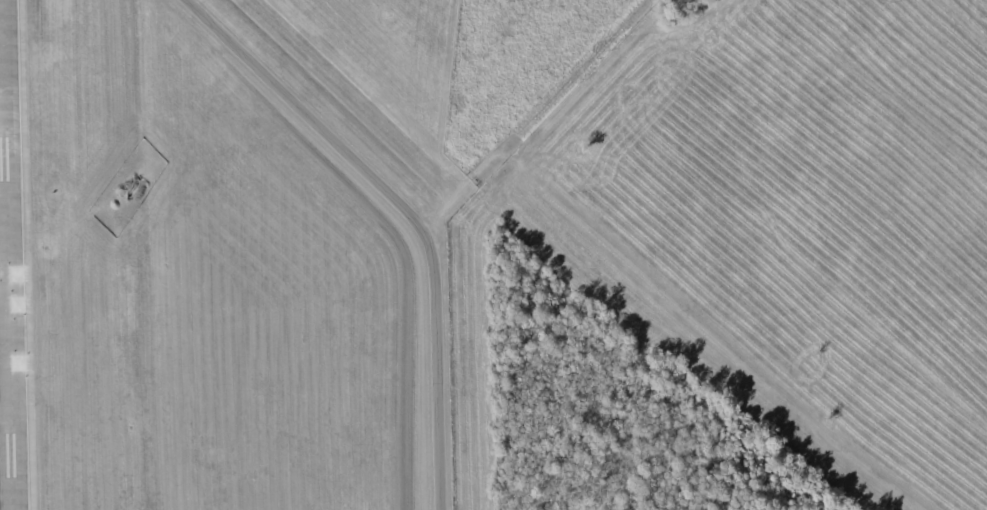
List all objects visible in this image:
road: (298, 116)
road: (532, 116)
airport: (493, 255)
road: (434, 370)

